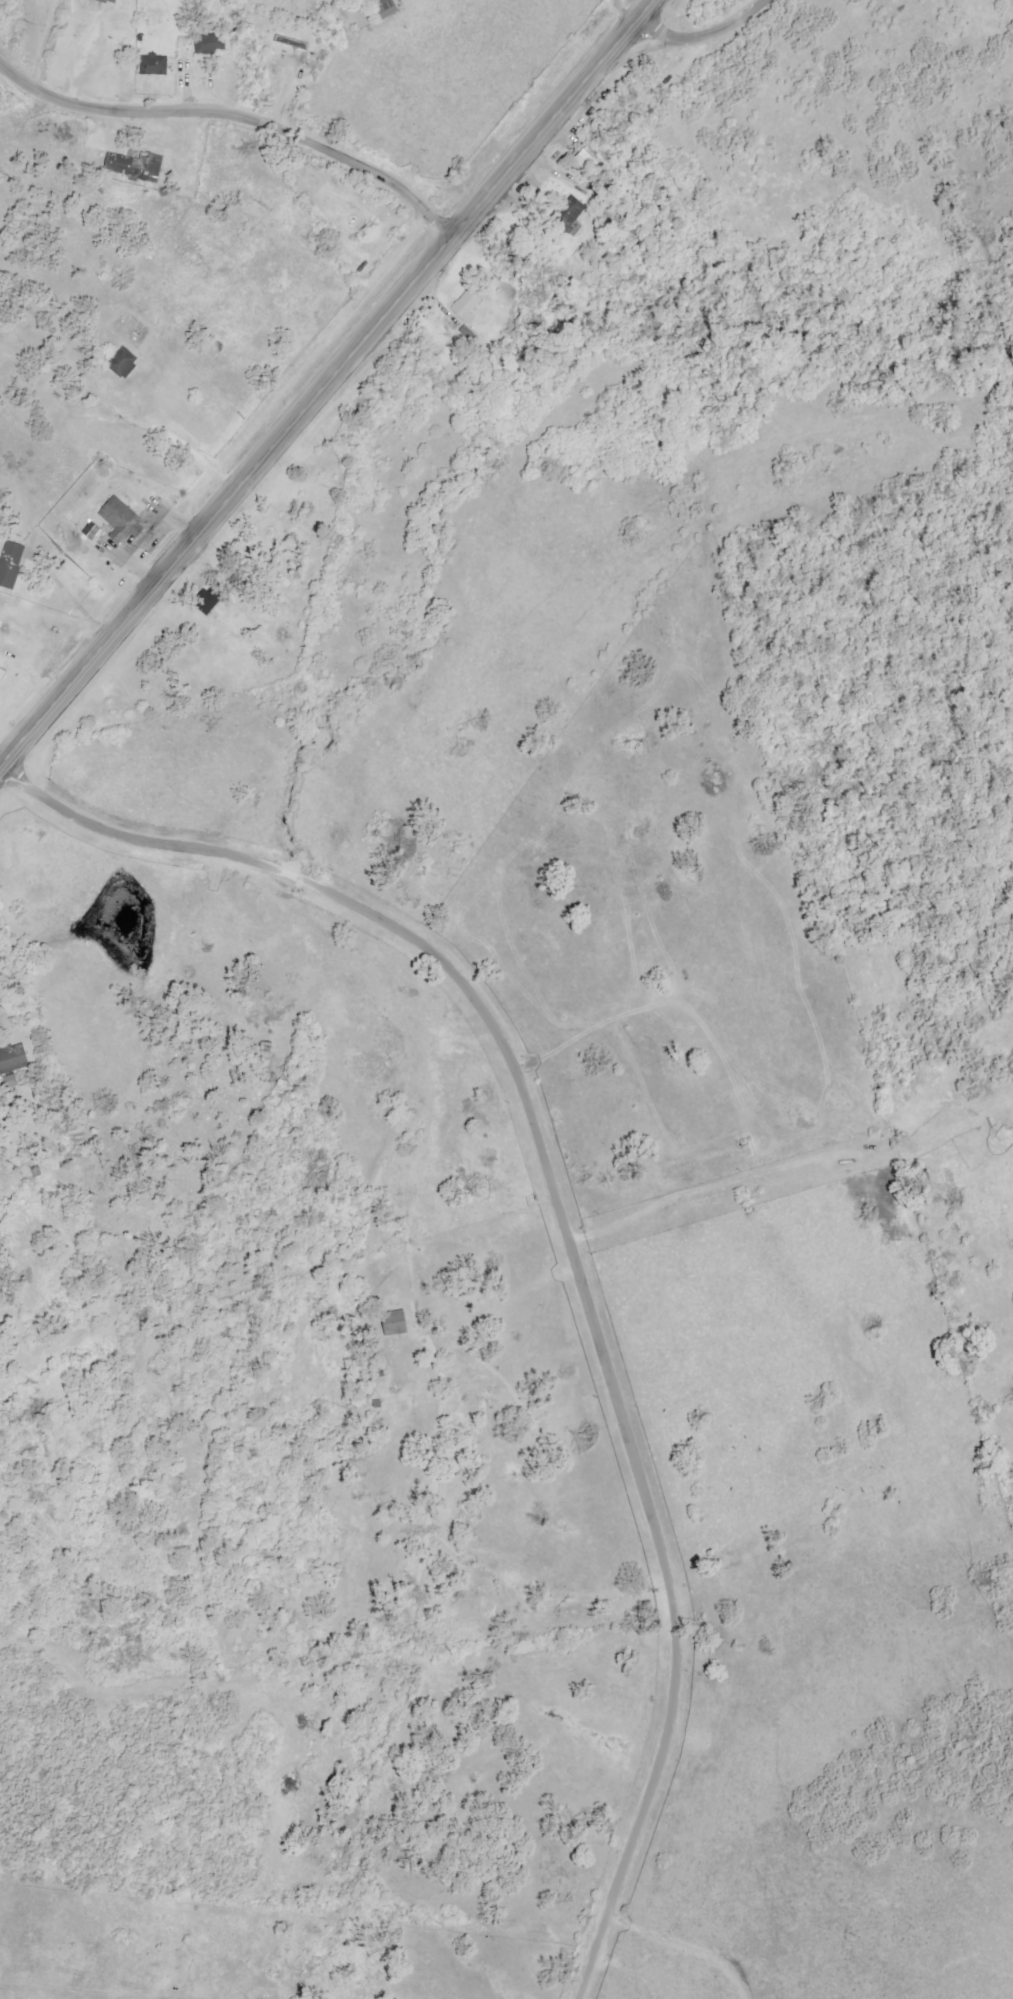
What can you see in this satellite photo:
building: (110, 1)
building: (387, 9)
road: (630, 11)
road: (708, 39)
building: (291, 42)
building: (207, 44)
road: (48, 46)
building: (154, 65)
road: (238, 117)
building: (136, 166)
building: (570, 213)
building: (468, 305)
building: (123, 363)
road: (328, 386)
building: (121, 520)
building: (93, 531)
building: (11, 564)
building: (209, 601)
building: (2, 675)
building: (13, 1059)
road: (568, 1237)
building: (395, 1323)

